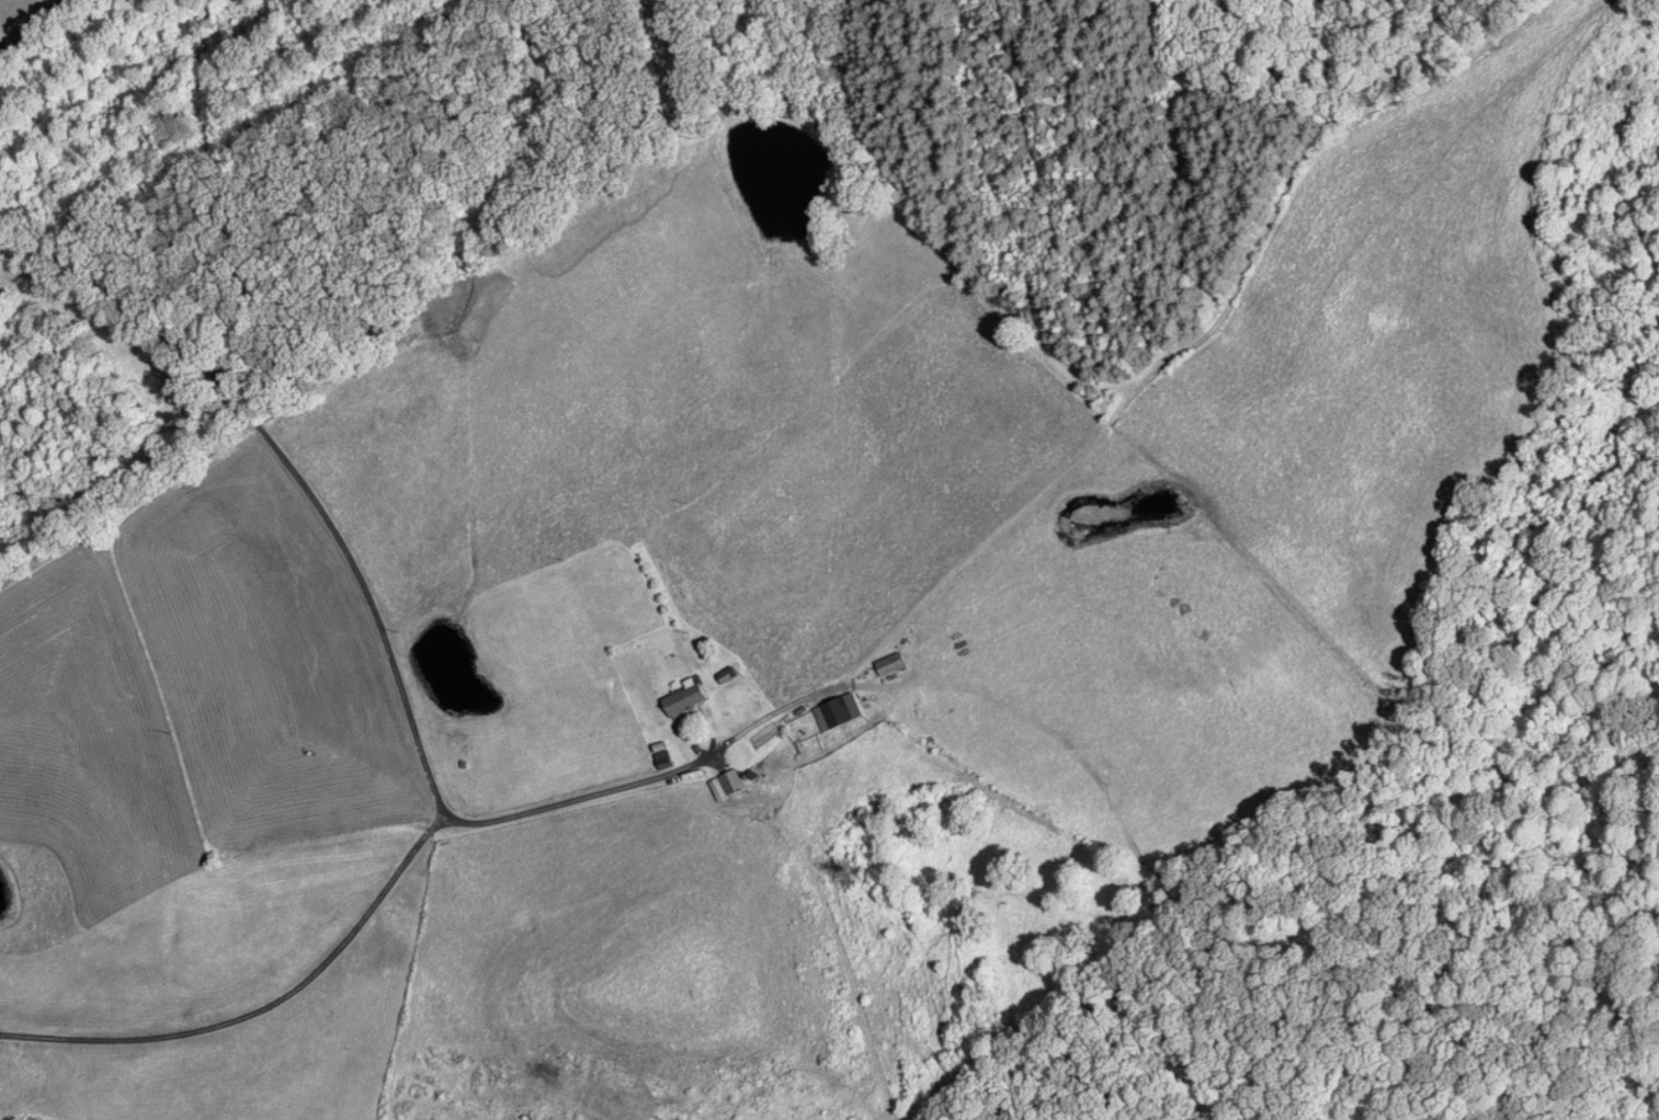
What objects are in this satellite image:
road: (30, 26)
building: (885, 664)
road: (795, 696)
building: (679, 697)
building: (831, 711)
building: (718, 784)
road: (261, 1006)

